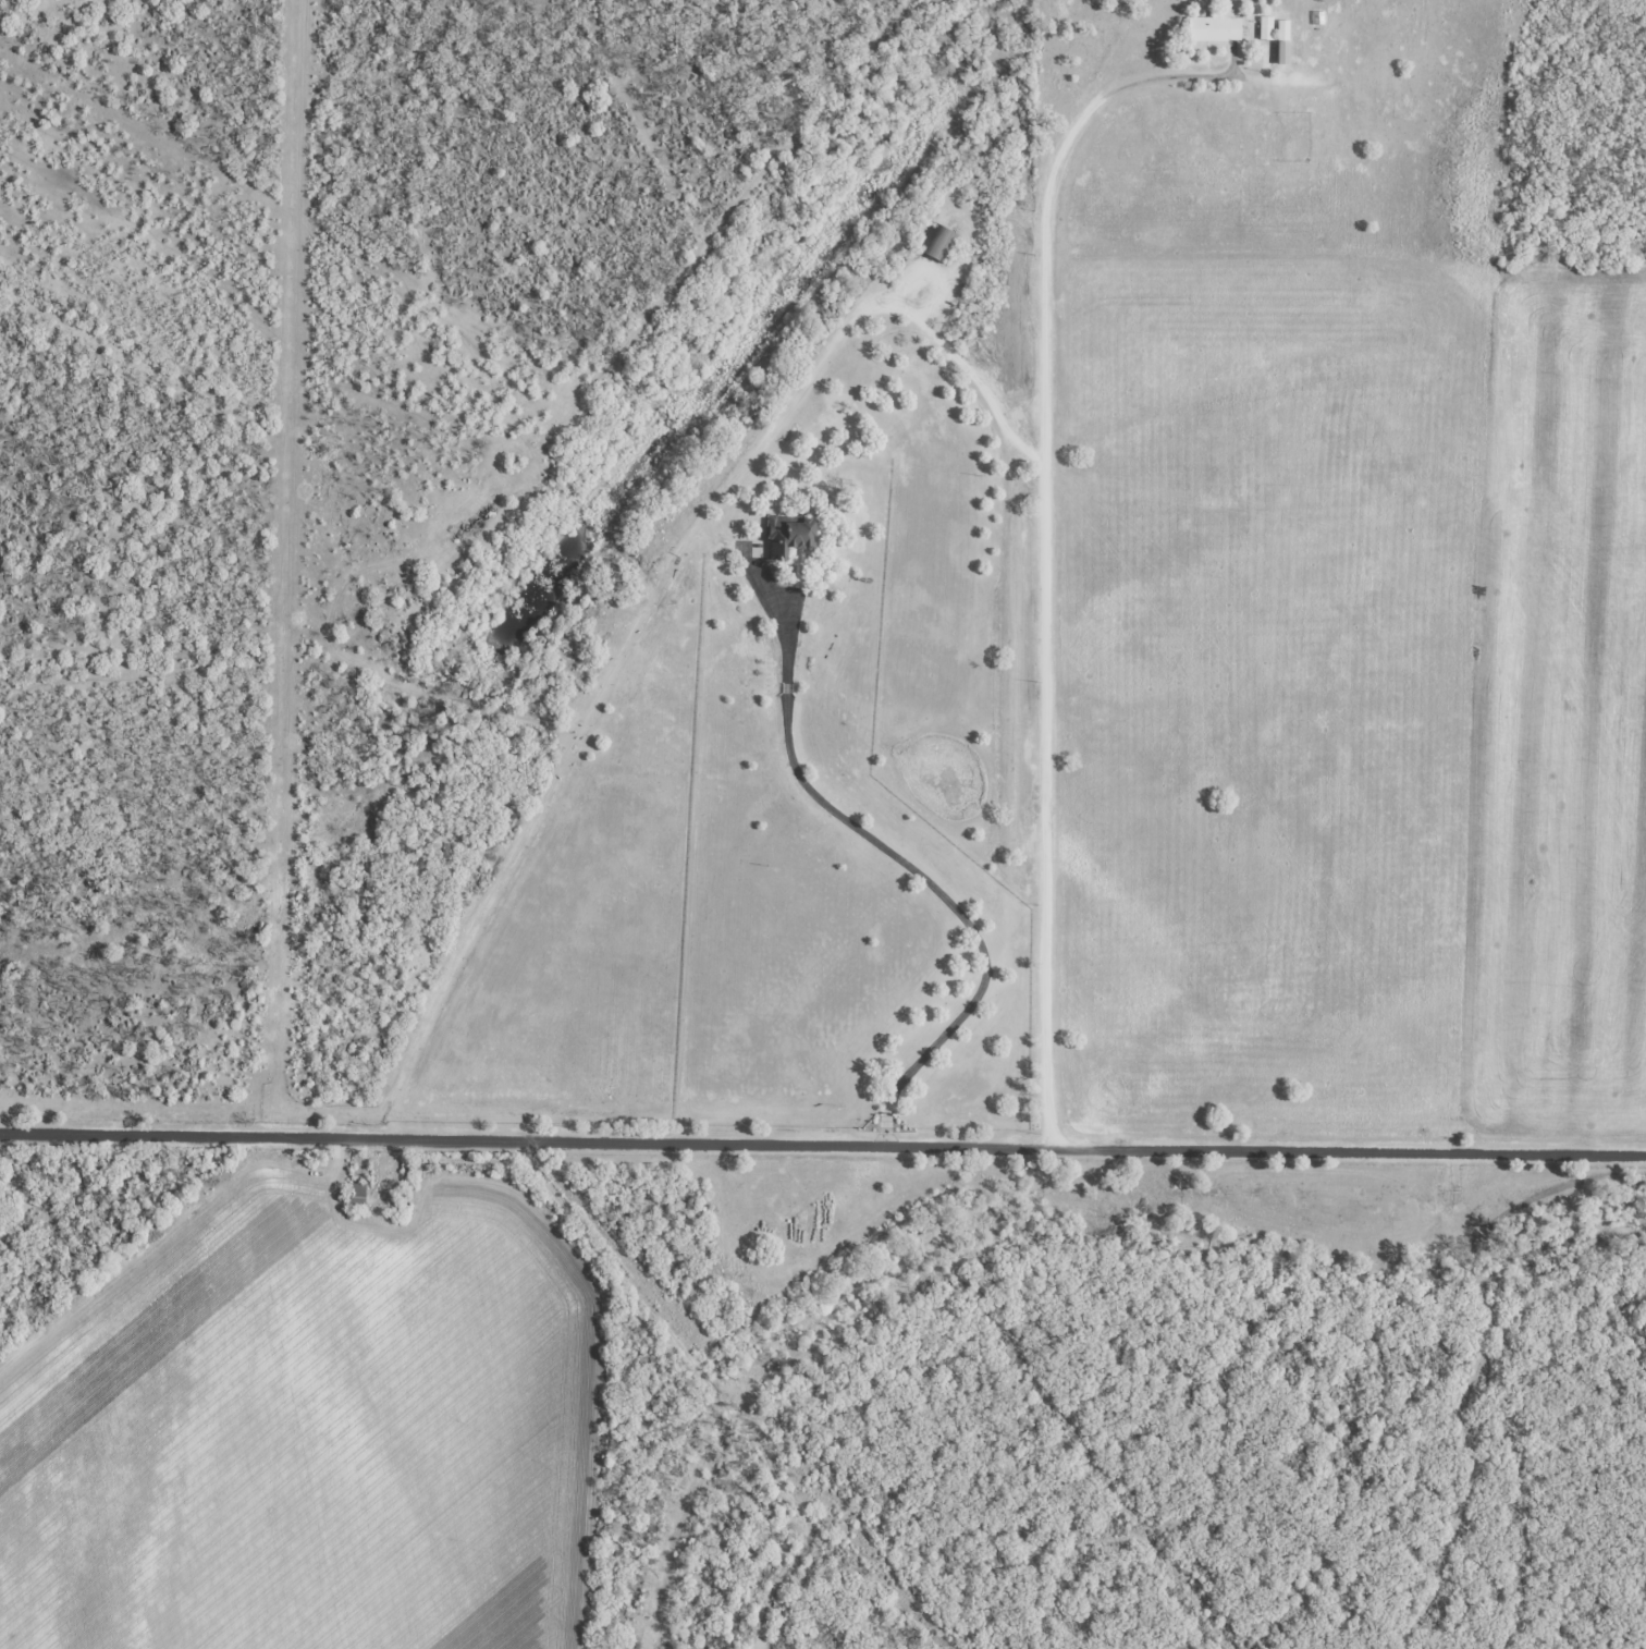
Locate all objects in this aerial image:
building: (1211, 29)
building: (1263, 29)
building: (1279, 42)
building: (1301, 54)
building: (935, 245)
road: (1051, 530)
building: (784, 535)
road: (822, 1145)
building: (352, 1194)

